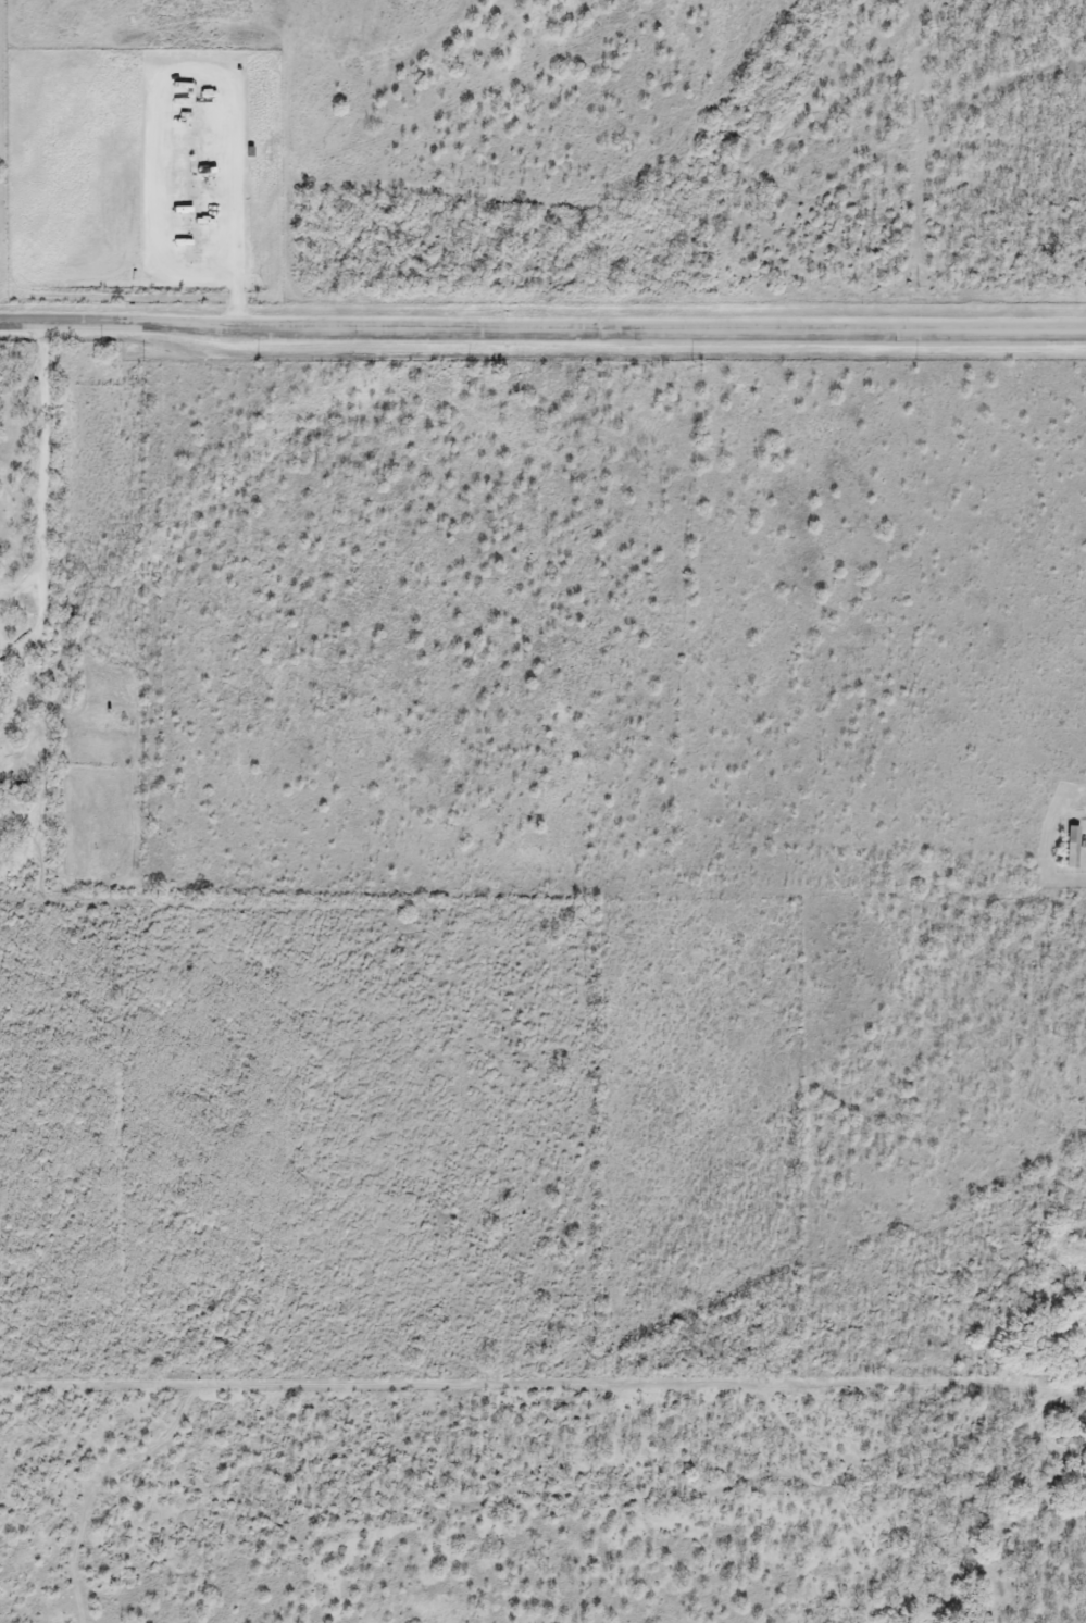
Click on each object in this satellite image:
road: (188, 75)
road: (542, 327)
road: (41, 497)
building: (1073, 848)

